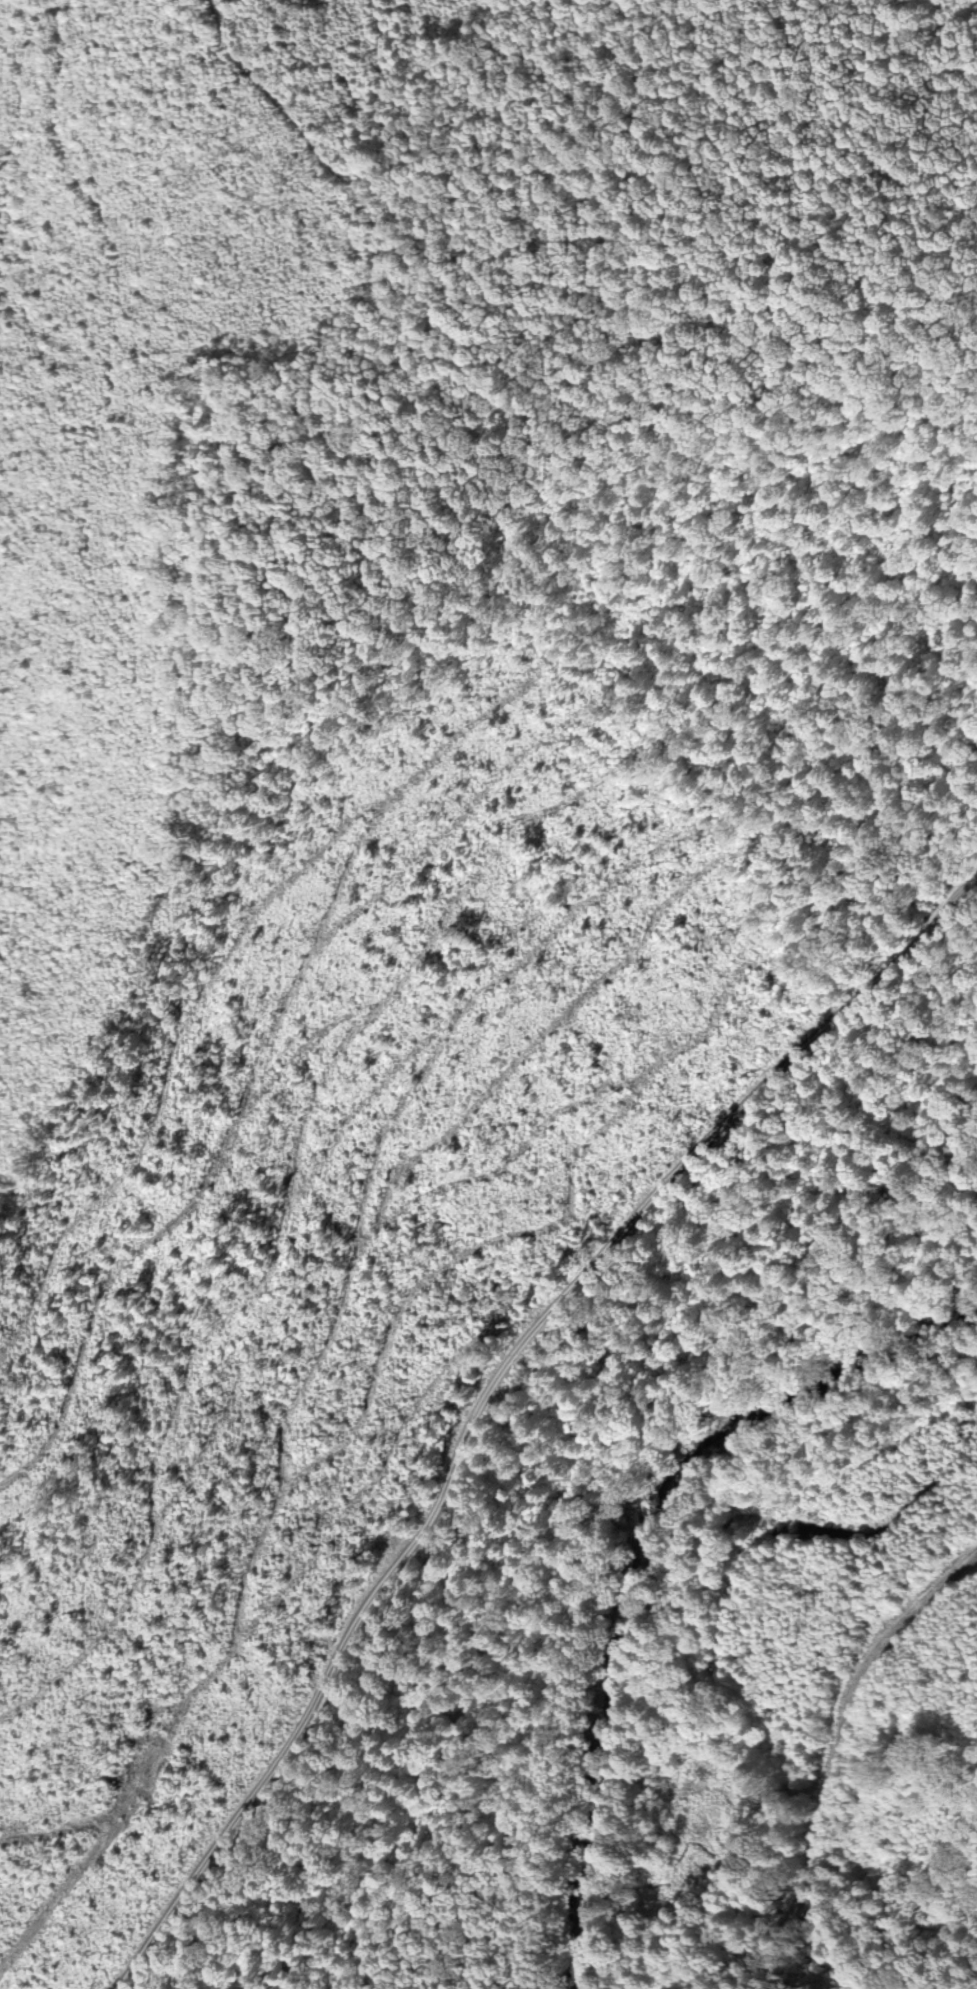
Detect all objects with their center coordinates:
road: (468, 1386)

